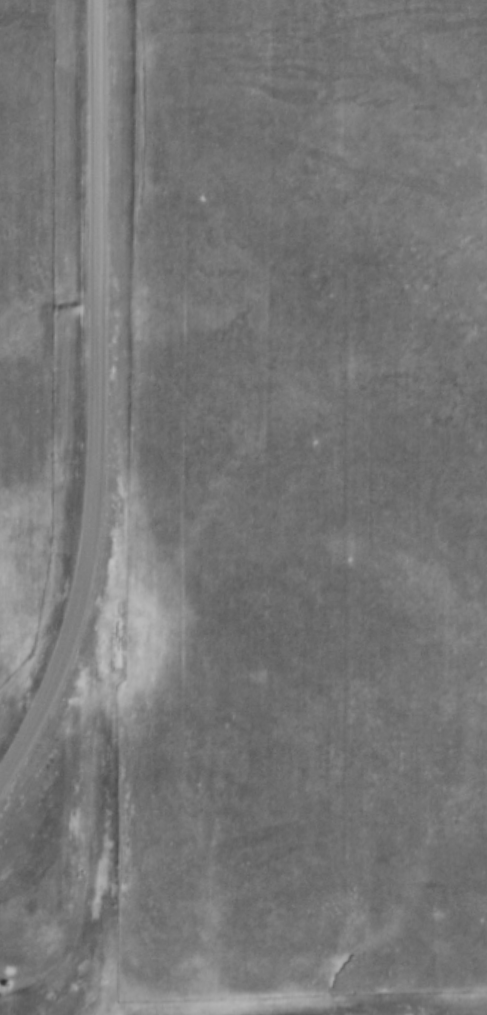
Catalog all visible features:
road: (97, 404)

